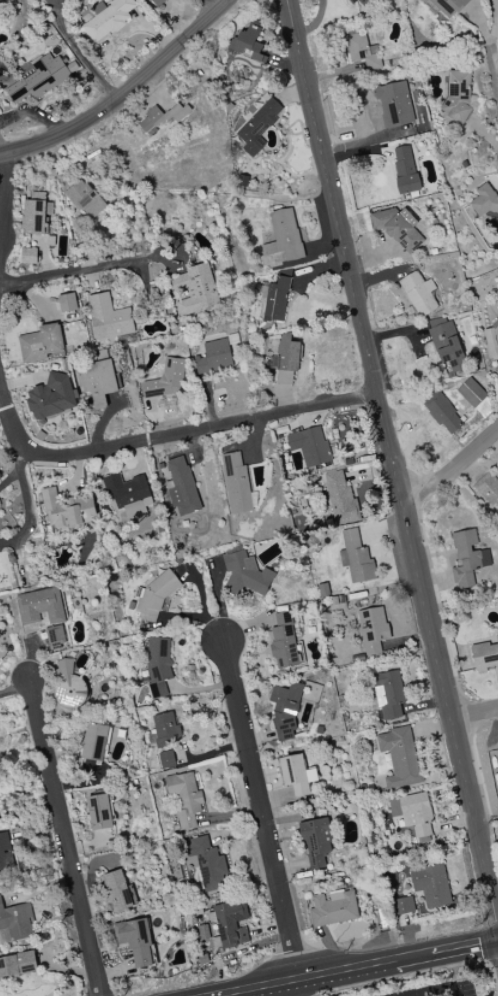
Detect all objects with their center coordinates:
building: (5, 1)
building: (157, 2)
building: (361, 2)
building: (445, 6)
building: (108, 18)
building: (249, 45)
road: (489, 47)
building: (362, 51)
road: (79, 52)
building: (38, 78)
road: (123, 93)
building: (457, 96)
building: (394, 105)
building: (161, 117)
building: (258, 127)
road: (0, 153)
building: (405, 170)
road: (5, 197)
building: (85, 199)
building: (486, 200)
building: (36, 214)
building: (397, 228)
building: (284, 236)
building: (28, 256)
road: (75, 272)
building: (196, 290)
building: (418, 294)
building: (275, 297)
building: (67, 303)
building: (108, 318)
building: (491, 337)
building: (446, 343)
building: (40, 344)
building: (214, 357)
building: (285, 360)
building: (167, 380)
building: (98, 382)
building: (475, 396)
building: (51, 397)
building: (442, 414)
road: (102, 421)
road: (167, 437)
building: (309, 446)
road: (392, 460)
road: (452, 473)
building: (236, 484)
building: (181, 487)
building: (488, 489)
building: (128, 495)
building: (340, 498)
road: (27, 503)
building: (66, 510)
building: (355, 558)
building: (467, 558)
building: (245, 575)
building: (41, 606)
building: (373, 629)
building: (283, 642)
building: (485, 656)
building: (158, 667)
building: (68, 685)
road: (14, 692)
building: (388, 695)
building: (286, 709)
road: (476, 718)
building: (164, 731)
building: (94, 742)
building: (497, 750)
building: (399, 758)
building: (166, 760)
building: (296, 775)
building: (185, 799)
road: (261, 809)
building: (99, 812)
building: (414, 815)
road: (63, 838)
building: (315, 842)
building: (5, 853)
building: (207, 864)
building: (431, 886)
building: (119, 891)
building: (402, 906)
building: (333, 908)
building: (17, 922)
building: (231, 923)
building: (135, 941)
road: (464, 945)
road: (364, 964)
building: (17, 965)
road: (281, 980)
road: (300, 986)
road: (243, 988)
road: (437, 989)
parking lot: (440, 989)
road: (214, 994)
road: (422, 994)

